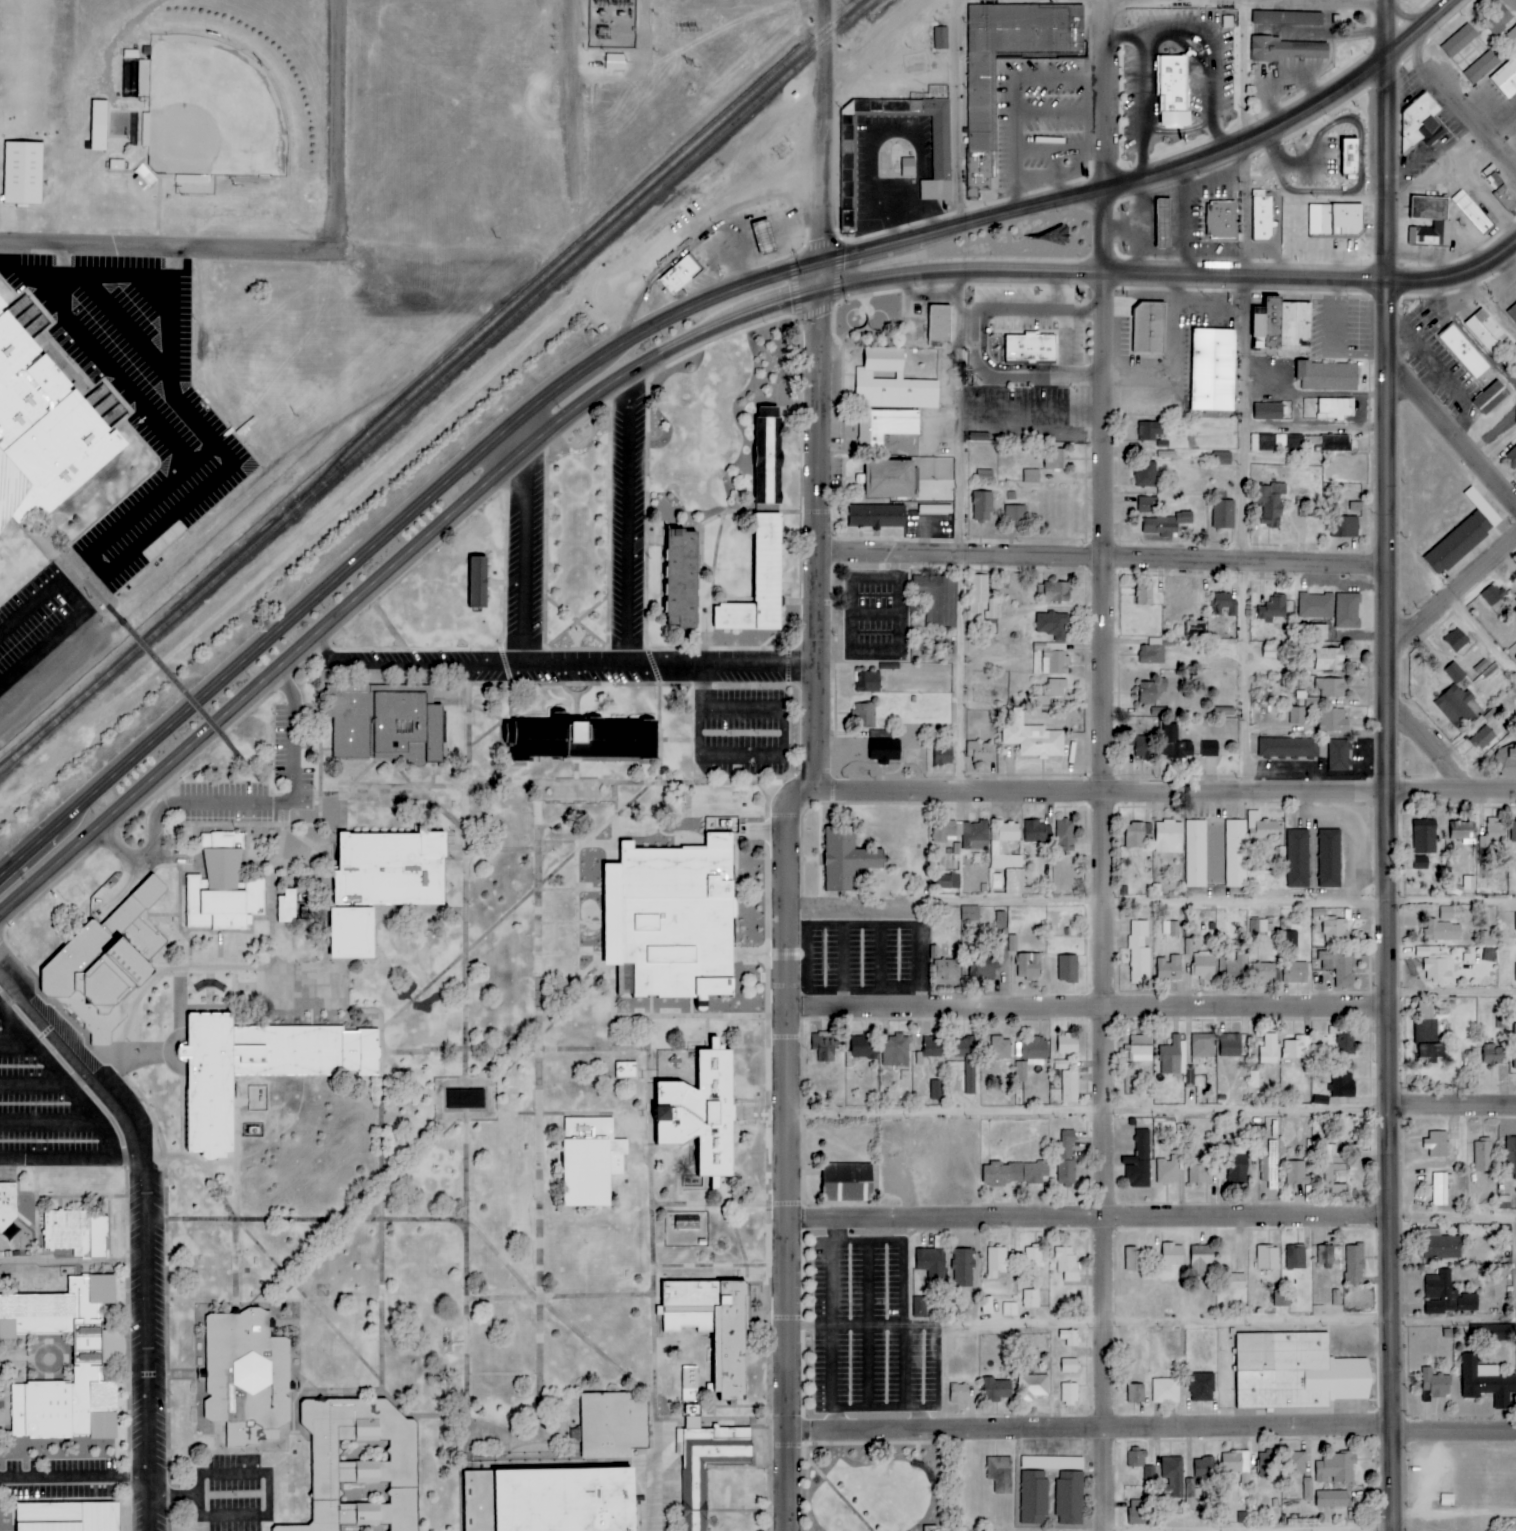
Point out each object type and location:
road: (1364, 1)
building: (1287, 17)
building: (1497, 19)
road: (1178, 22)
building: (1227, 22)
power substation: (610, 23)
road: (1390, 26)
power tower: (688, 28)
building: (1512, 36)
road: (875, 37)
building: (940, 38)
building: (1458, 41)
building: (1285, 49)
building: (613, 62)
power tower: (689, 66)
building: (1481, 67)
building: (1506, 78)
building: (1173, 90)
road: (571, 91)
road: (1464, 95)
building: (981, 105)
park: (211, 112)
road: (958, 112)
building: (1420, 120)
road: (334, 123)
building: (98, 125)
road: (823, 131)
road: (1101, 136)
building: (941, 148)
building: (1349, 158)
building: (115, 164)
building: (907, 167)
building: (22, 172)
road: (1154, 173)
building: (846, 178)
road: (158, 195)
building: (1505, 198)
building: (1472, 213)
building: (1261, 215)
building: (1220, 219)
road: (20, 220)
building: (1335, 220)
building: (1163, 223)
building: (1442, 223)
road: (163, 246)
railway: (573, 250)
railway: (584, 253)
traffic signals: (819, 263)
building: (679, 275)
traffic signals: (819, 291)
road: (1056, 291)
road: (1492, 302)
road: (1029, 309)
building: (1512, 312)
building: (939, 323)
building: (1281, 324)
building: (1150, 328)
building: (1485, 331)
road: (1062, 338)
road: (666, 349)
building: (1029, 349)
building: (1462, 351)
road: (1017, 367)
building: (1212, 370)
building: (1327, 376)
building: (891, 382)
parking lot: (147, 387)
building: (1490, 397)
building: (1335, 408)
building: (40, 410)
stadium: (40, 410)
building: (1266, 411)
building: (891, 425)
road: (1451, 431)
building: (1150, 434)
building: (1298, 442)
building: (1263, 443)
building: (1335, 443)
building: (1221, 458)
building: (1511, 458)
building: (767, 460)
road: (792, 460)
building: (1055, 460)
building: (939, 465)
building: (985, 475)
building: (1145, 475)
building: (1031, 477)
building: (888, 479)
building: (1148, 501)
building: (1270, 505)
building: (981, 506)
road: (724, 507)
building: (935, 510)
building: (1313, 512)
building: (665, 514)
building: (1223, 514)
building: (875, 516)
road: (627, 517)
road: (711, 519)
parking lot: (626, 520)
building: (1166, 524)
road: (815, 526)
building: (1345, 527)
road: (958, 531)
road: (386, 534)
road: (1243, 535)
building: (1464, 535)
road: (524, 547)
road: (1101, 554)
road: (64, 556)
parking lot: (524, 558)
building: (681, 577)
building: (758, 581)
building: (476, 582)
road: (1451, 591)
building: (1054, 593)
building: (1143, 593)
building: (1492, 595)
building: (981, 599)
building: (1316, 606)
building: (1225, 609)
building: (1273, 609)
building: (1515, 610)
building: (1347, 611)
road: (706, 621)
road: (575, 622)
road: (387, 625)
building: (1052, 625)
building: (1194, 630)
flagpole: (582, 631)
flagpole: (570, 632)
flagpole: (575, 632)
building: (1313, 632)
road: (335, 634)
road: (1480, 634)
railway: (149, 638)
building: (1456, 640)
road: (550, 642)
parking lot: (44, 644)
road: (654, 648)
building: (1270, 652)
building: (1152, 655)
building: (1053, 658)
building: (1329, 660)
road: (409, 664)
road: (668, 664)
road: (787, 667)
road: (173, 682)
building: (867, 682)
road: (701, 683)
road: (524, 684)
road: (575, 684)
road: (285, 685)
road: (618, 685)
building: (1331, 687)
building: (1055, 688)
building: (1151, 691)
road: (797, 697)
building: (1042, 700)
building: (1311, 702)
building: (1458, 707)
building: (864, 716)
building: (1297, 716)
building: (1333, 721)
building: (385, 722)
road: (501, 722)
parking lot: (740, 732)
building: (1031, 738)
building: (1482, 738)
building: (583, 739)
road: (675, 740)
parking lot: (291, 744)
building: (1140, 747)
building: (1287, 747)
building: (1179, 748)
building: (1209, 749)
building: (883, 750)
road: (1429, 750)
building: (979, 751)
building: (942, 755)
building: (1338, 755)
road: (776, 756)
building: (1510, 763)
road: (251, 771)
road: (432, 775)
road: (502, 782)
road: (392, 786)
road: (1101, 790)
road: (1387, 791)
road: (1451, 794)
road: (285, 803)
road: (441, 810)
road: (708, 816)
road: (319, 825)
building: (1261, 828)
building: (1463, 830)
building: (944, 831)
building: (1036, 831)
building: (1065, 832)
building: (1514, 832)
road: (642, 834)
building: (1137, 834)
building: (975, 835)
building: (1168, 837)
building: (1490, 837)
building: (1424, 839)
road: (578, 842)
road: (255, 849)
road: (492, 850)
building: (1196, 853)
building: (1235, 853)
road: (150, 856)
building: (1006, 856)
building: (845, 858)
building: (1297, 859)
building: (1328, 859)
building: (1420, 862)
building: (946, 881)
road: (464, 884)
building: (222, 886)
building: (382, 886)
road: (178, 892)
road: (271, 896)
road: (1101, 902)
road: (1222, 902)
road: (856, 903)
building: (286, 907)
building: (1446, 913)
building: (969, 914)
road: (164, 915)
building: (680, 917)
building: (1170, 928)
building: (1335, 930)
building: (1443, 931)
building: (1488, 939)
parking lot: (865, 946)
road: (219, 950)
building: (1138, 952)
road: (462, 953)
building: (1488, 954)
building: (1232, 963)
building: (106, 965)
building: (1028, 965)
building: (1203, 965)
building: (1435, 965)
building: (1337, 966)
building: (1067, 968)
building: (1169, 968)
road: (249, 969)
building: (947, 969)
building: (981, 970)
building: (1515, 970)
building: (1263, 972)
building: (1297, 972)
road: (8, 977)
road: (579, 983)
road: (1453, 992)
road: (8, 996)
road: (1086, 1007)
building: (1441, 1008)
road: (689, 1016)
road: (73, 1025)
building: (1427, 1035)
building: (1067, 1044)
building: (1345, 1044)
building: (1230, 1045)
building: (823, 1046)
building: (931, 1046)
building: (1202, 1046)
road: (15, 1047)
building: (862, 1047)
building: (1297, 1047)
building: (1514, 1047)
road: (555, 1049)
building: (1139, 1049)
building: (1268, 1049)
building: (1034, 1050)
building: (895, 1051)
building: (1492, 1055)
road: (78, 1058)
building: (1176, 1061)
road: (164, 1069)
building: (246, 1070)
building: (626, 1071)
road: (767, 1072)
road: (642, 1074)
road: (78, 1079)
road: (661, 1080)
road: (31, 1082)
road: (62, 1083)
building: (1343, 1085)
building: (1069, 1086)
building: (936, 1090)
building: (464, 1099)
fountain: (466, 1101)
road: (1453, 1107)
parking lot: (46, 1108)
road: (1087, 1112)
road: (570, 1113)
building: (700, 1114)
road: (493, 1117)
road: (49, 1122)
road: (538, 1123)
building: (1436, 1144)
road: (785, 1151)
building: (1482, 1156)
building: (1511, 1156)
building: (1066, 1157)
road: (72, 1159)
building: (1139, 1162)
building: (586, 1164)
building: (1237, 1165)
building: (1272, 1165)
building: (1167, 1170)
building: (1199, 1170)
building: (1332, 1170)
building: (1012, 1173)
building: (1296, 1173)
road: (379, 1177)
building: (846, 1183)
building: (1439, 1189)
building: (1504, 1202)
building: (7, 1204)
road: (708, 1204)
road: (225, 1205)
road: (353, 1209)
road: (650, 1216)
road: (1087, 1218)
road: (1452, 1218)
road: (315, 1220)
building: (74, 1233)
road: (737, 1240)
building: (1441, 1247)
building: (1325, 1254)
building: (1171, 1256)
building: (1033, 1257)
building: (1267, 1257)
road: (499, 1258)
building: (1295, 1258)
building: (932, 1259)
building: (1133, 1259)
building: (1200, 1260)
building: (996, 1261)
building: (1066, 1263)
building: (1354, 1265)
road: (708, 1266)
building: (963, 1268)
building: (1236, 1281)
road: (464, 1292)
building: (1446, 1295)
road: (557, 1297)
building: (1031, 1299)
building: (1282, 1299)
building: (919, 1307)
building: (1010, 1309)
road: (317, 1312)
road: (1087, 1323)
building: (712, 1327)
road: (146, 1330)
parking lot: (868, 1330)
building: (1070, 1338)
road: (595, 1349)
building: (85, 1361)
building: (1069, 1366)
building: (1295, 1372)
building: (246, 1376)
building: (1486, 1382)
building: (689, 1384)
building: (1435, 1385)
building: (1032, 1387)
building: (1202, 1387)
building: (996, 1389)
building: (1166, 1391)
building: (959, 1393)
building: (1135, 1393)
building: (1069, 1394)
building: (608, 1423)
road: (1150, 1428)
road: (501, 1441)
building: (1136, 1459)
building: (339, 1462)
building: (1051, 1463)
building: (1267, 1463)
building: (1295, 1463)
building: (1237, 1466)
building: (1204, 1468)
building: (1336, 1468)
road: (644, 1469)
building: (1000, 1474)
building: (1149, 1474)
road: (74, 1477)
building: (1173, 1480)
building: (1307, 1489)
parking lot: (233, 1493)
road: (174, 1495)
building: (693, 1497)
building: (1033, 1497)
building: (1069, 1498)
building: (550, 1499)
building: (1331, 1499)
building: (1138, 1512)
road: (264, 1514)
building: (67, 1516)
road: (1452, 1517)

